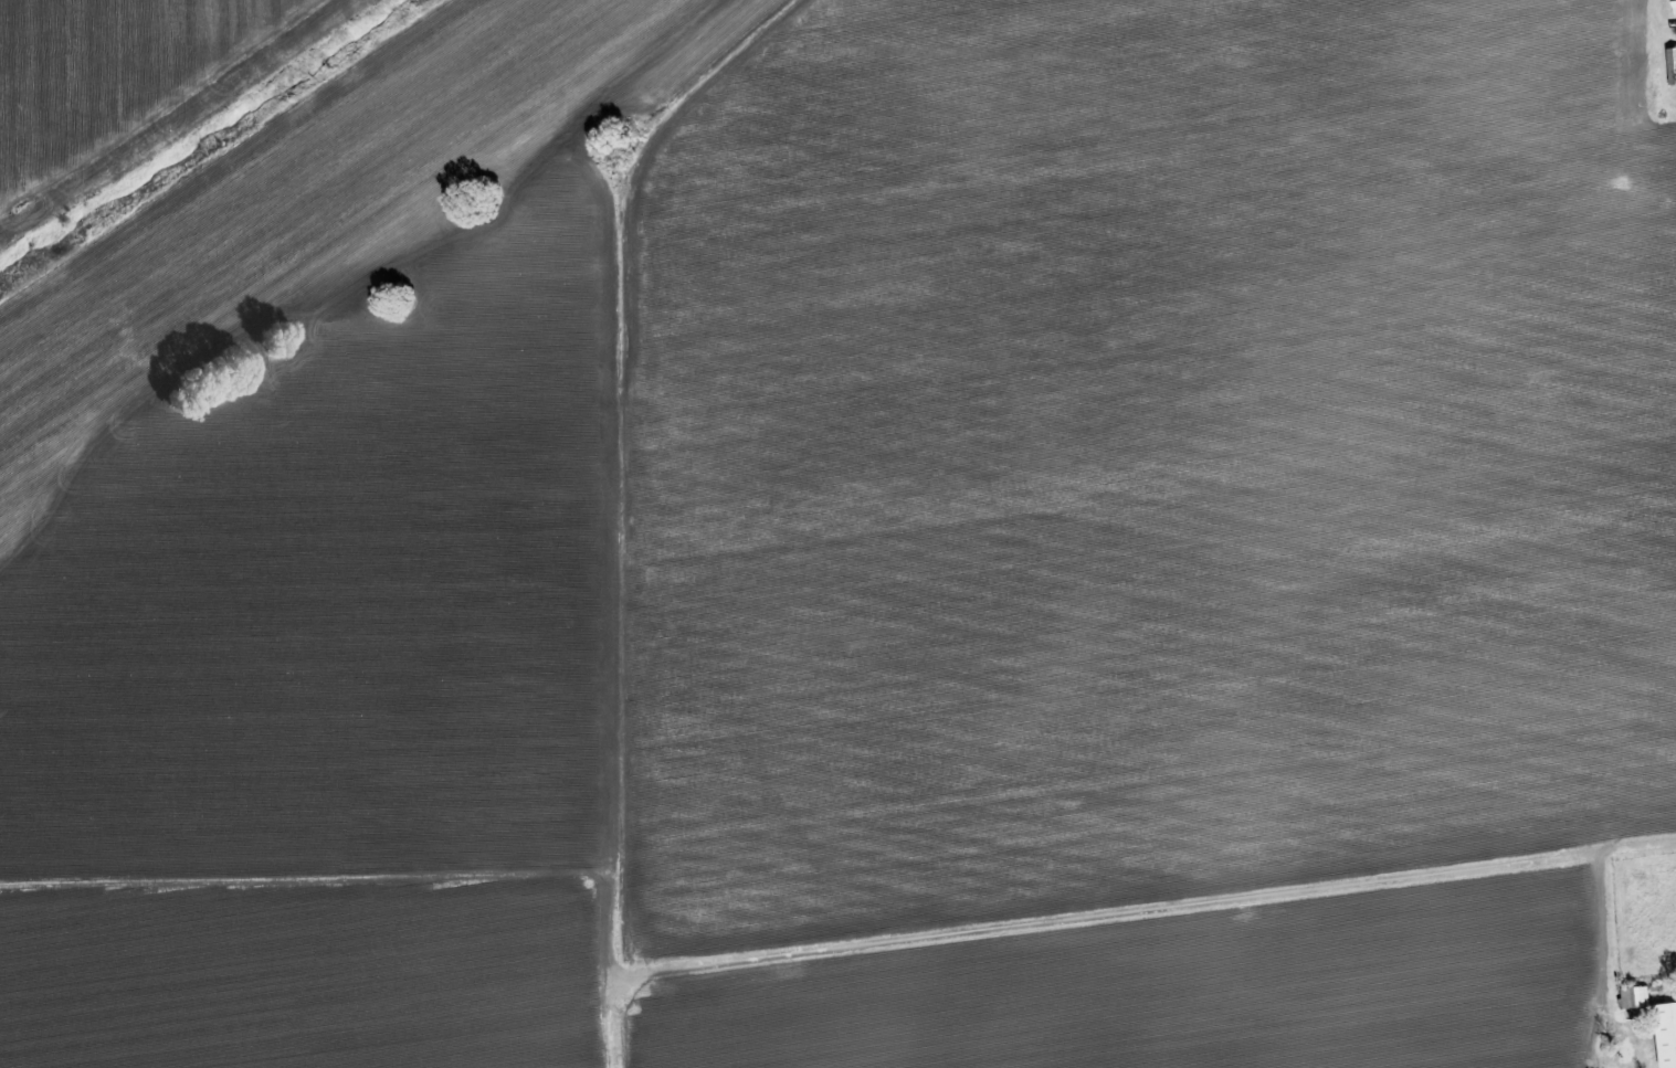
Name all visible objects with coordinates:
building: (1675, 3)
building: (1643, 998)
building: (1667, 1035)

